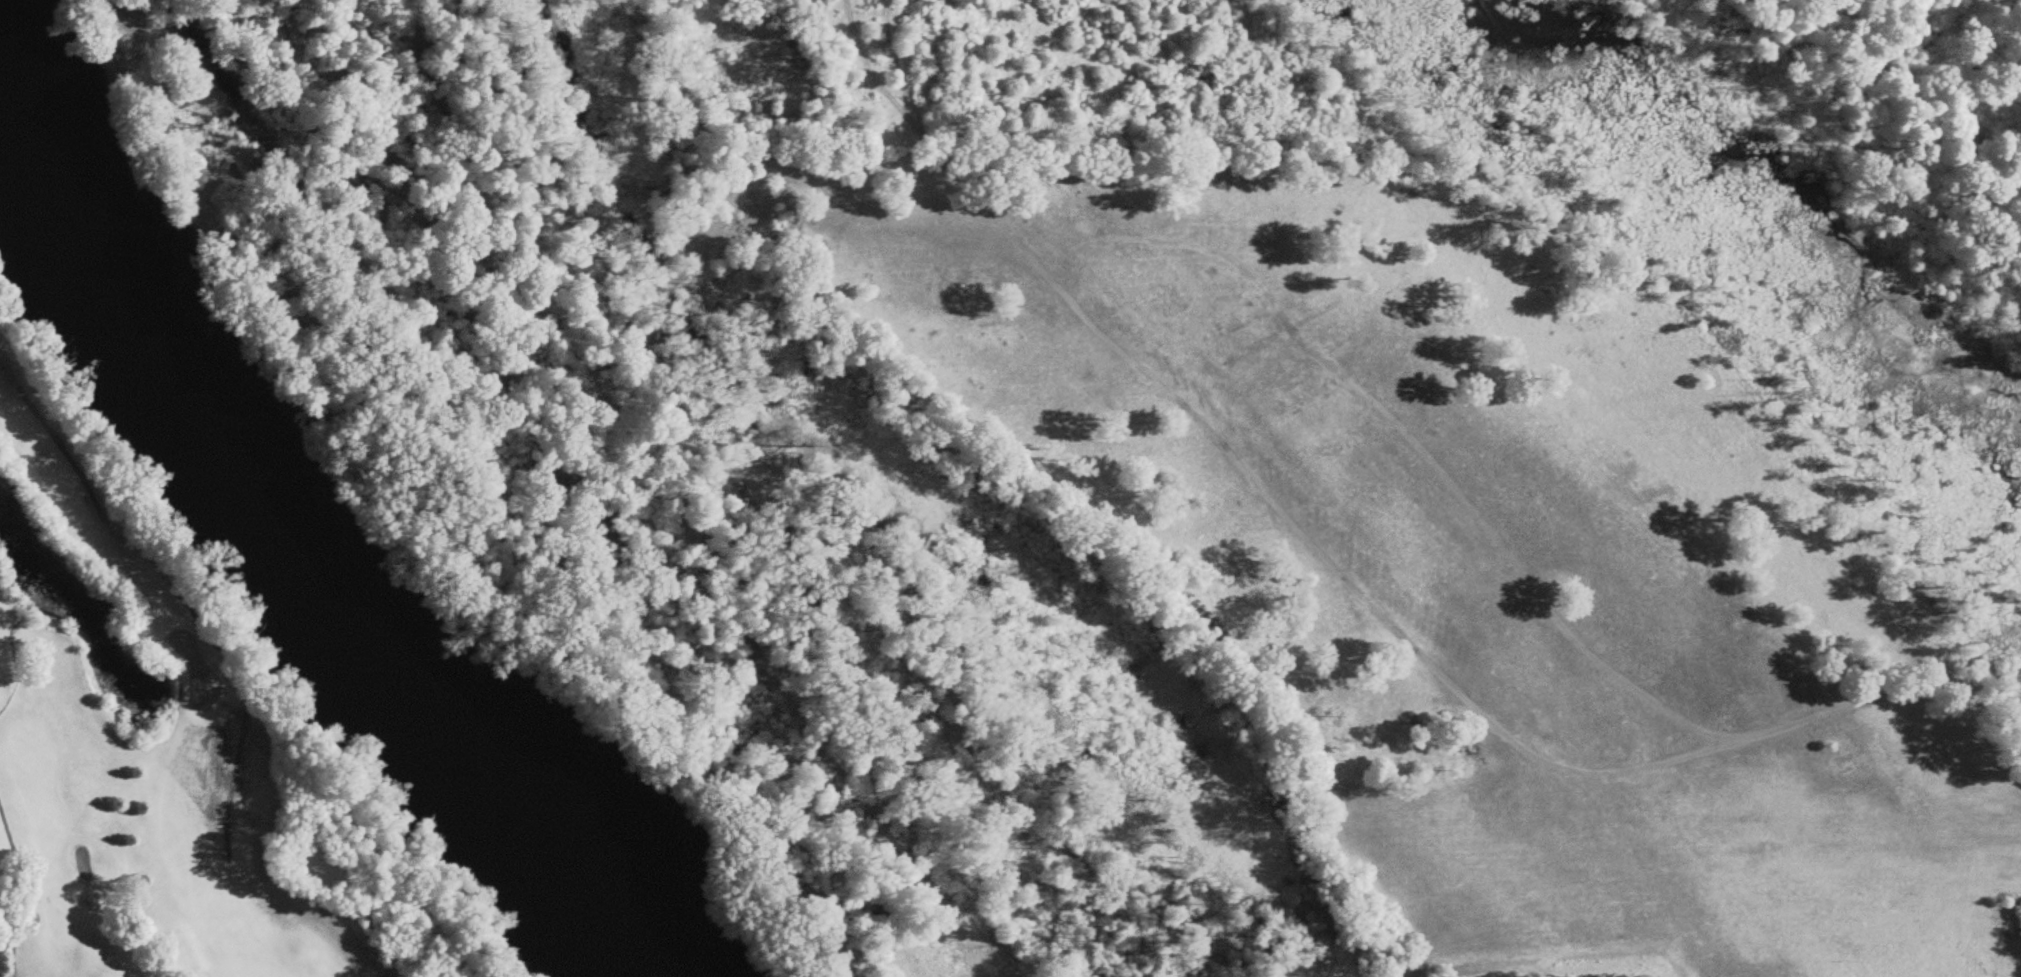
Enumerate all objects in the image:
road: (1494, 535)
river: (295, 544)
road: (1480, 708)
building: (1853, 740)
park: (178, 741)
airport runway: (1762, 833)

